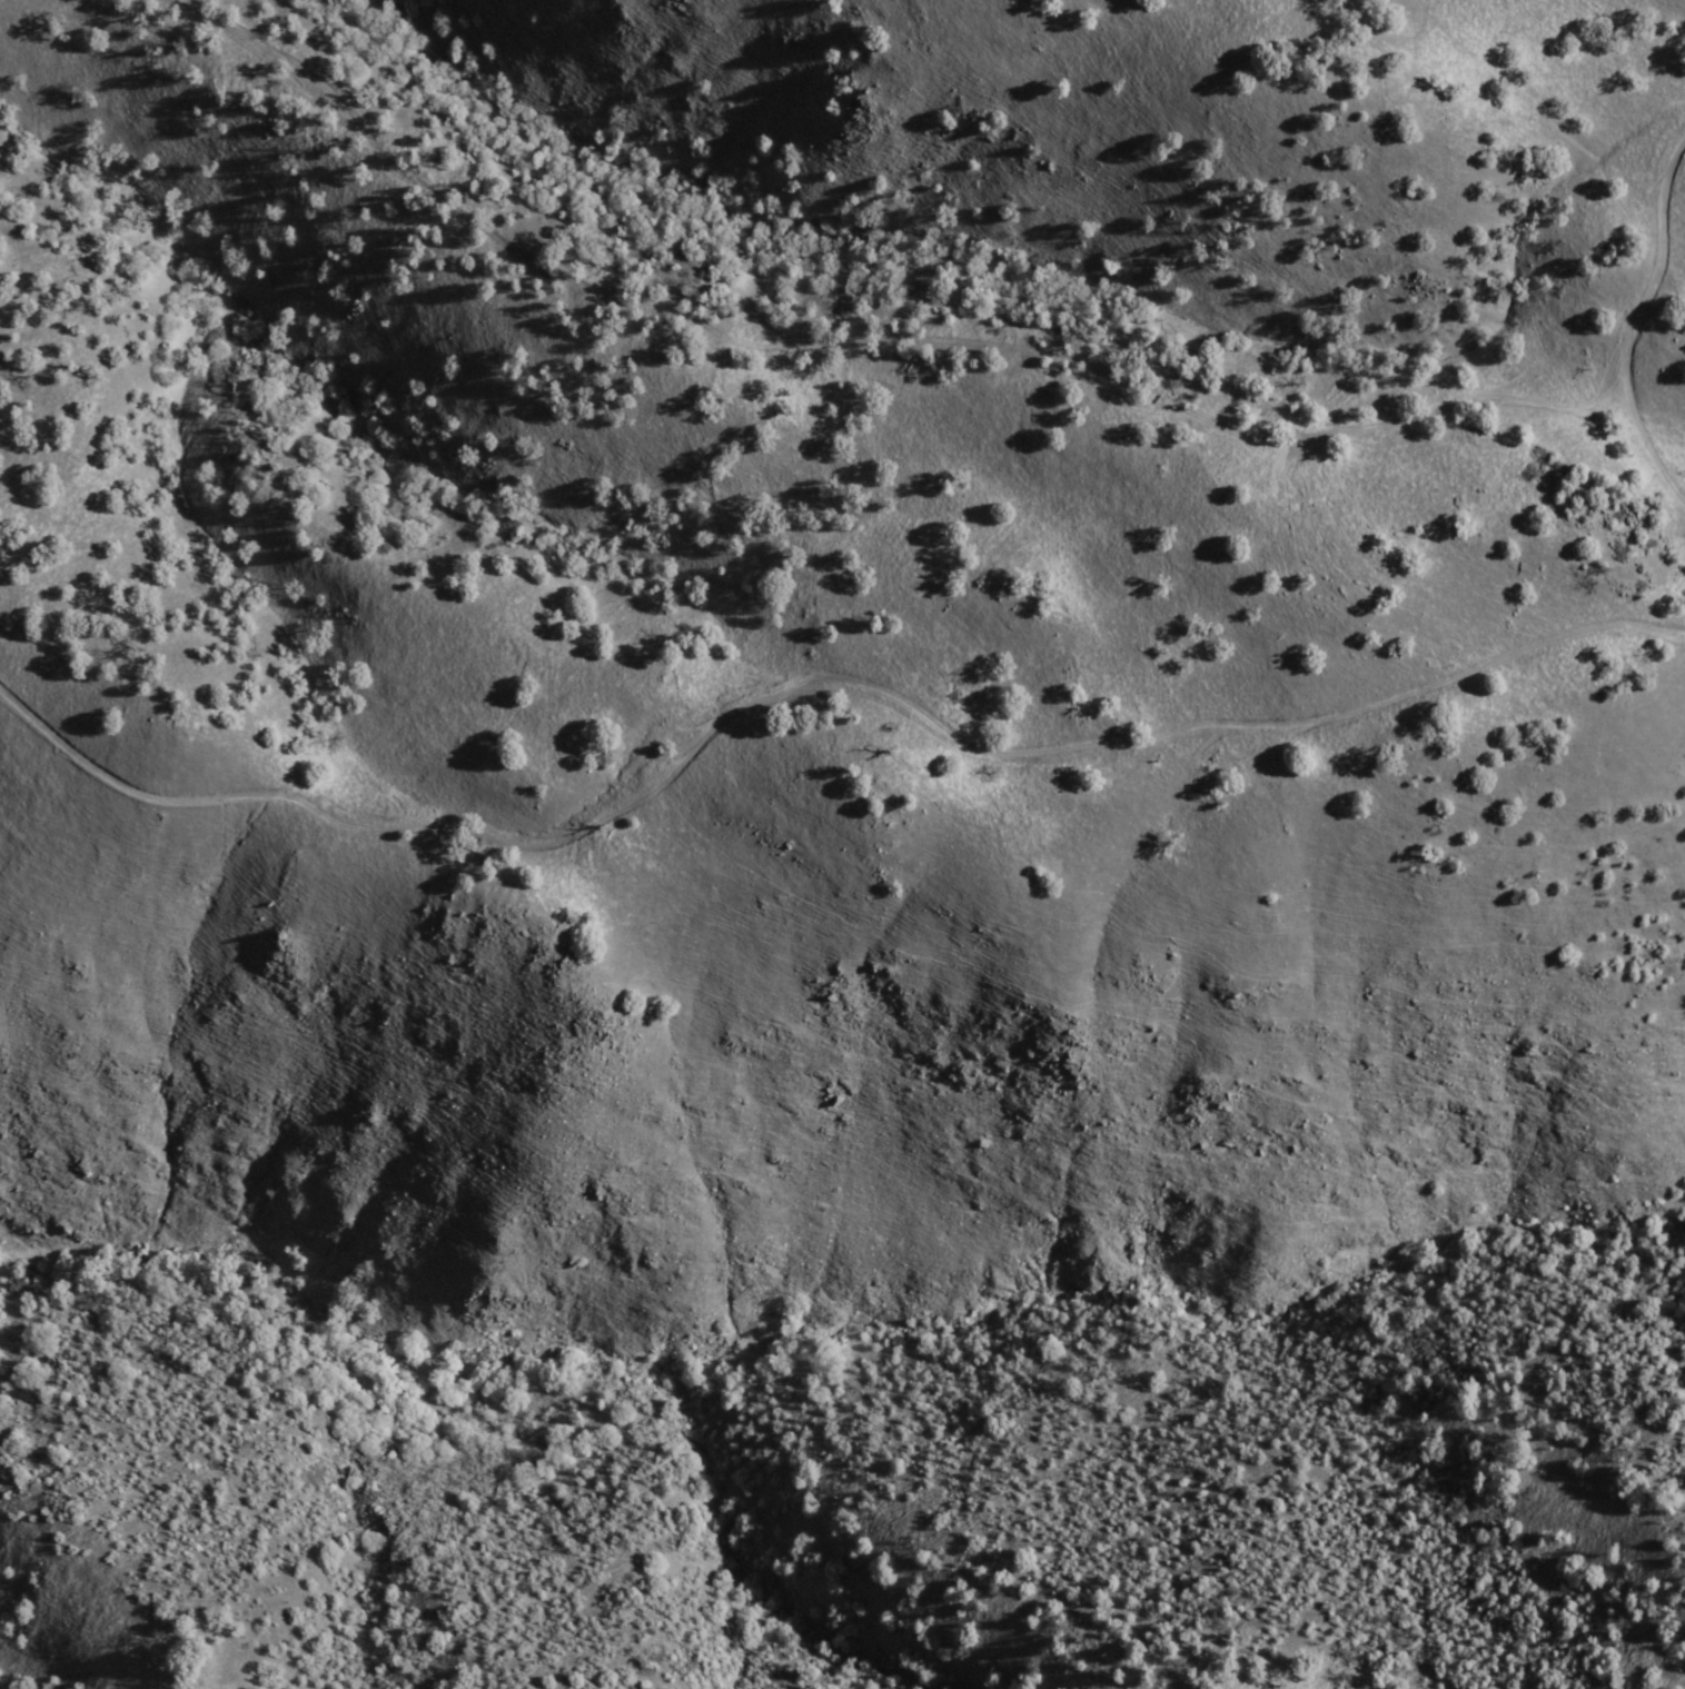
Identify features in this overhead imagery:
road: (1652, 359)
road: (816, 675)

